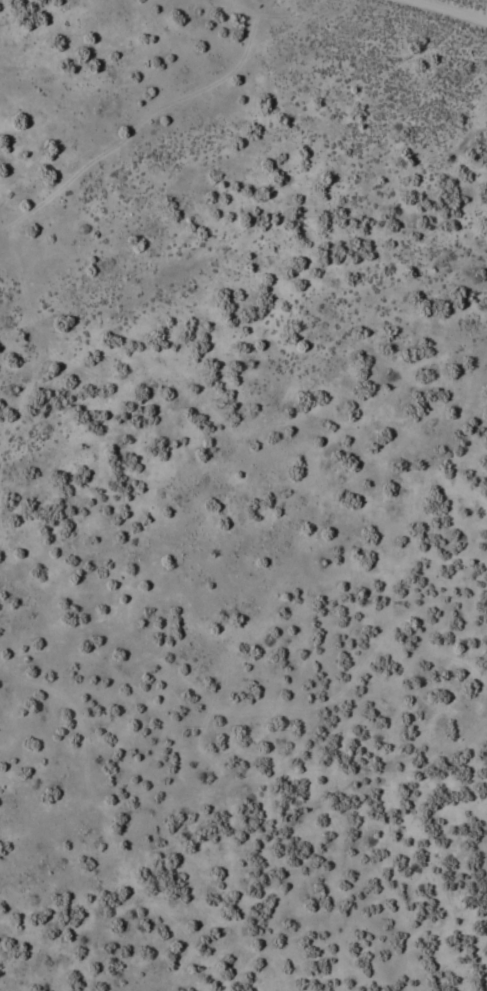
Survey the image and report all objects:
road: (448, 10)

